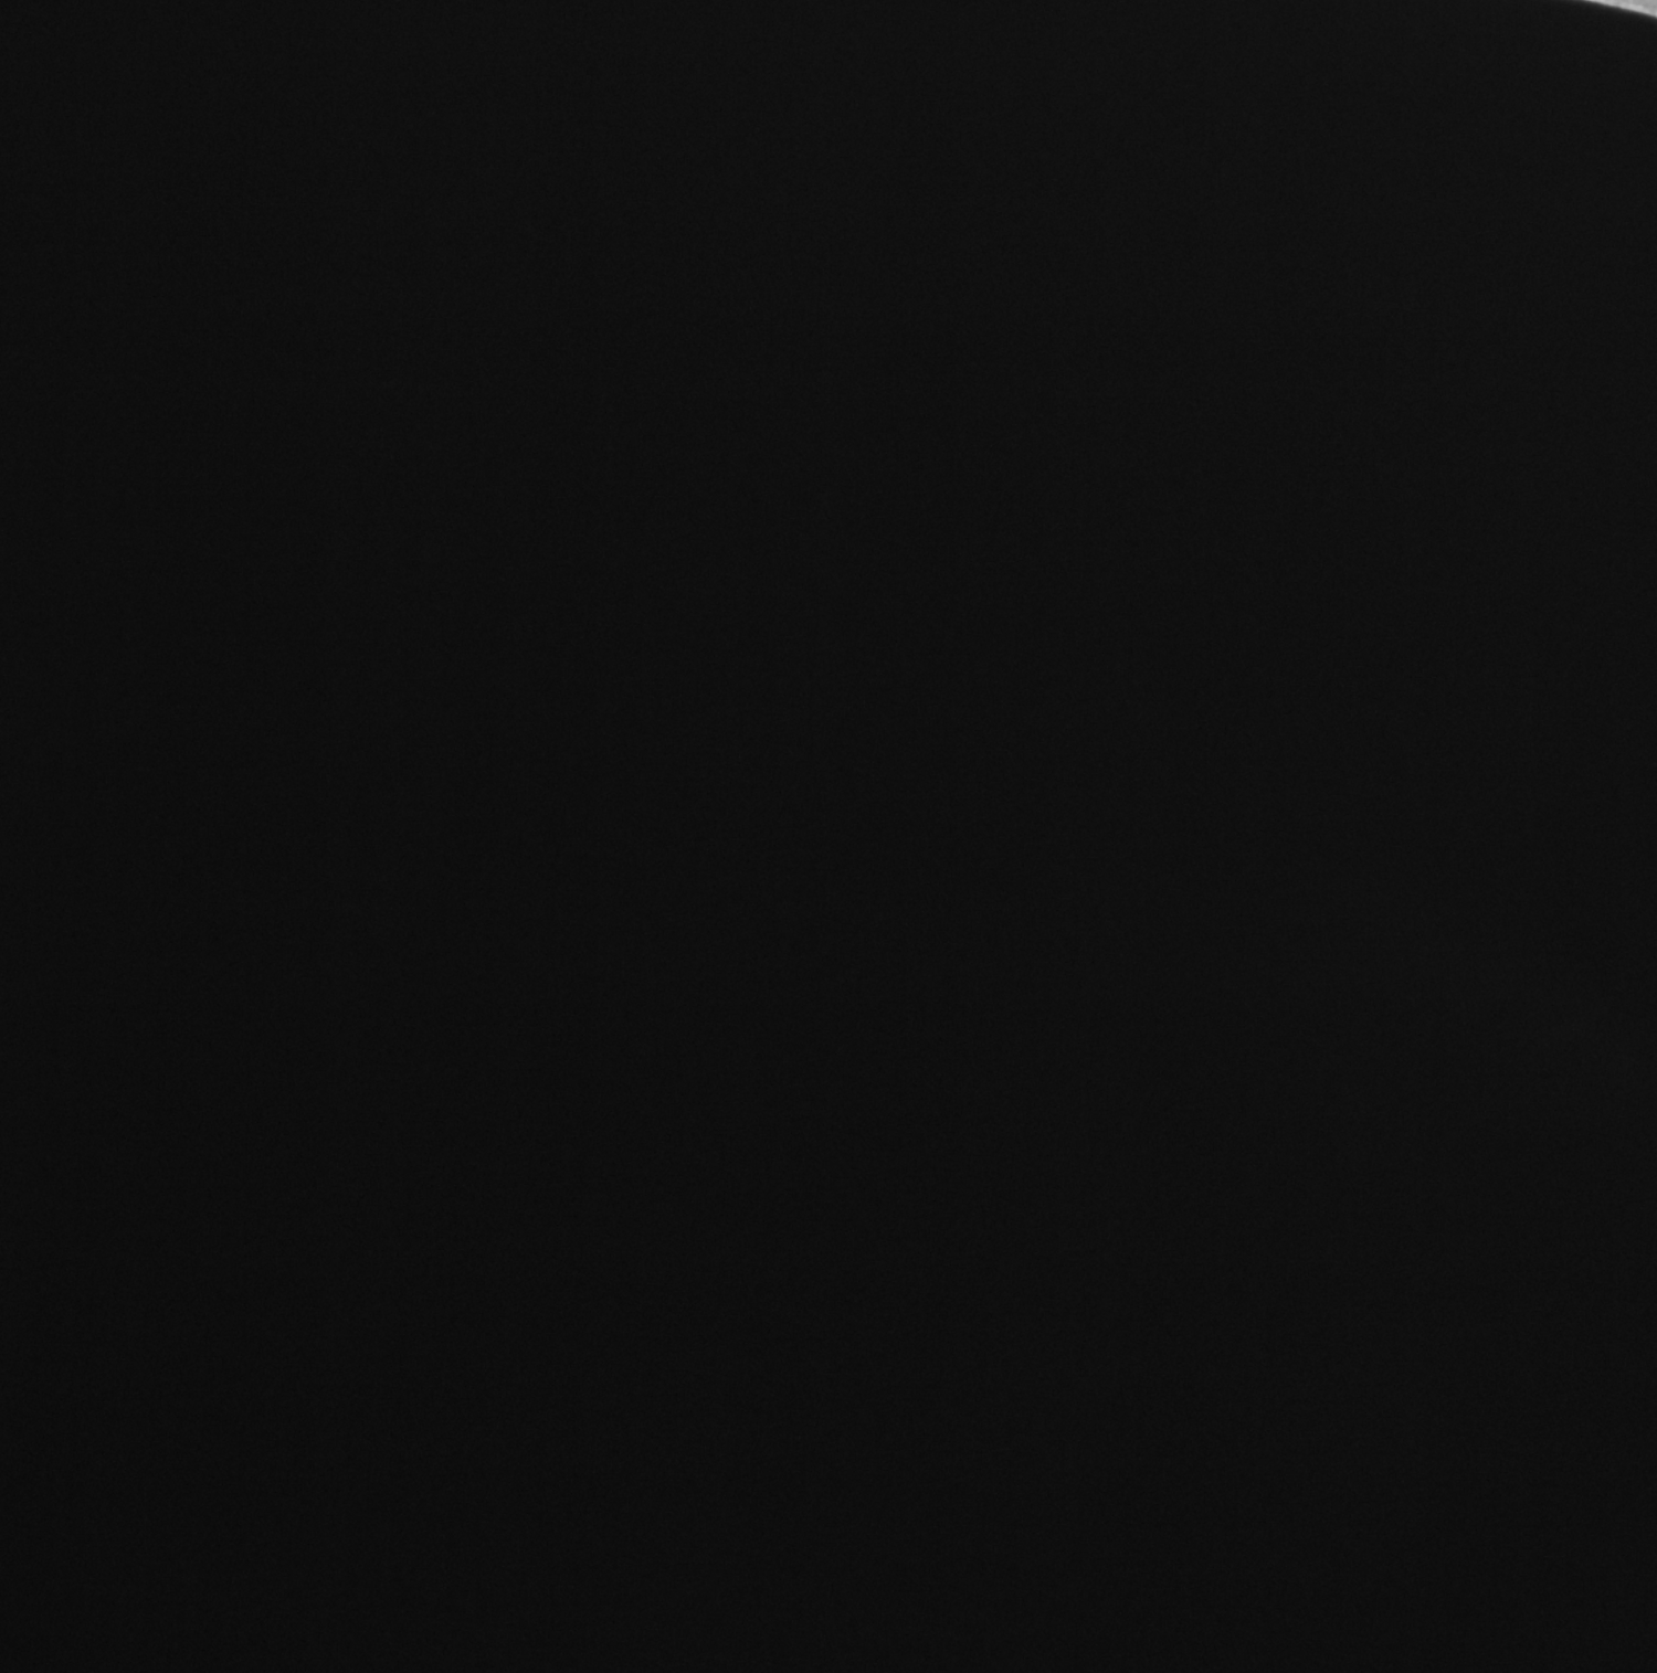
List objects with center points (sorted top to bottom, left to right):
river: (304, 1581)

